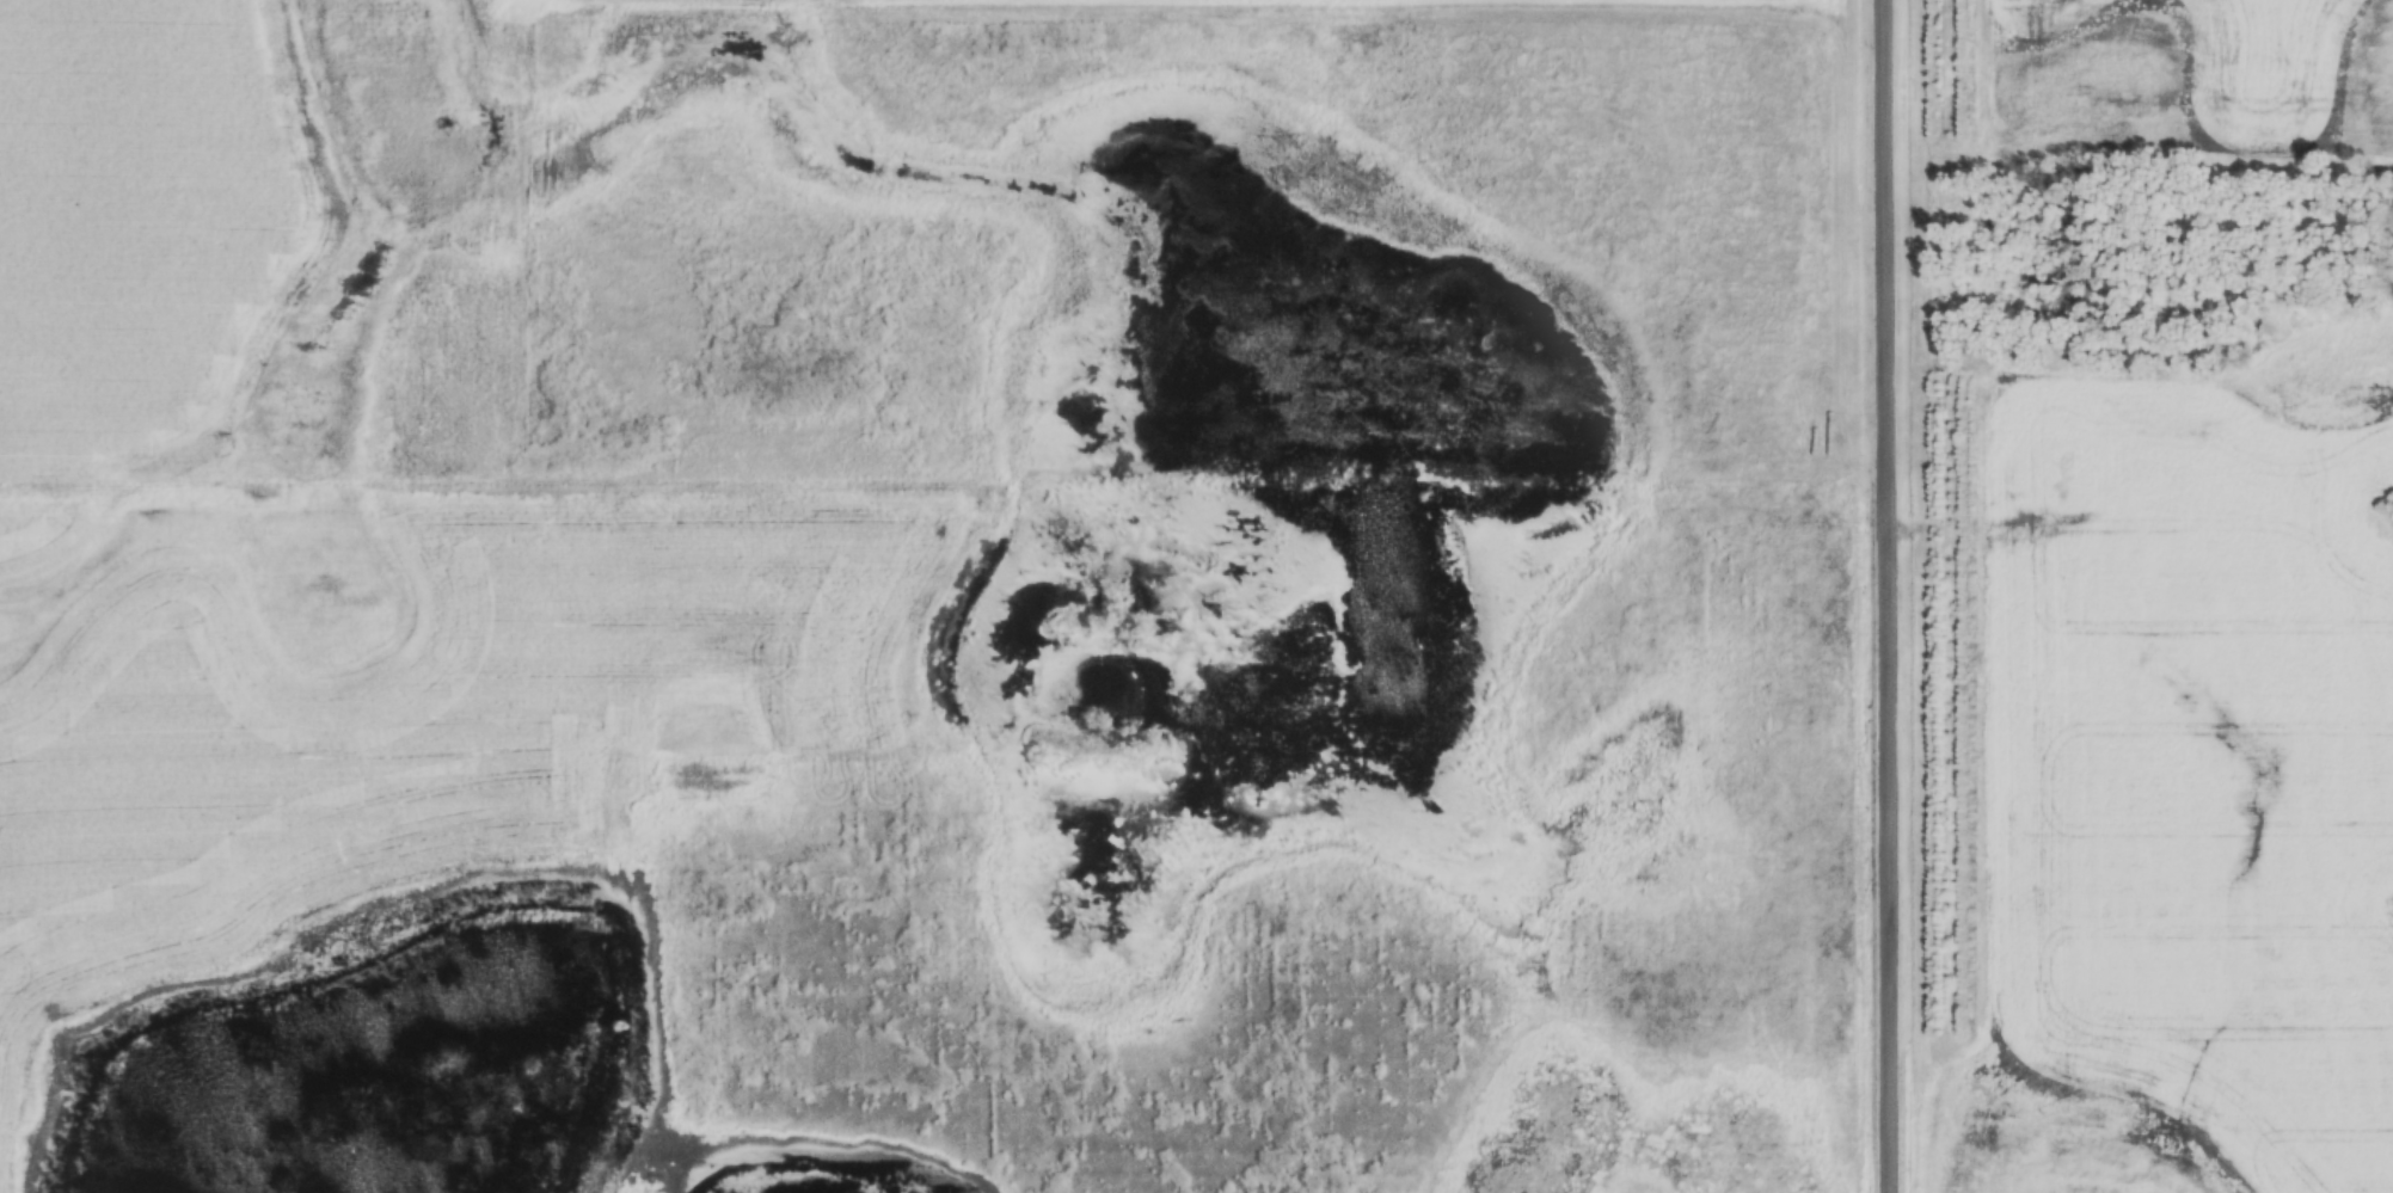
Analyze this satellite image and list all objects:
road: (1889, 596)

